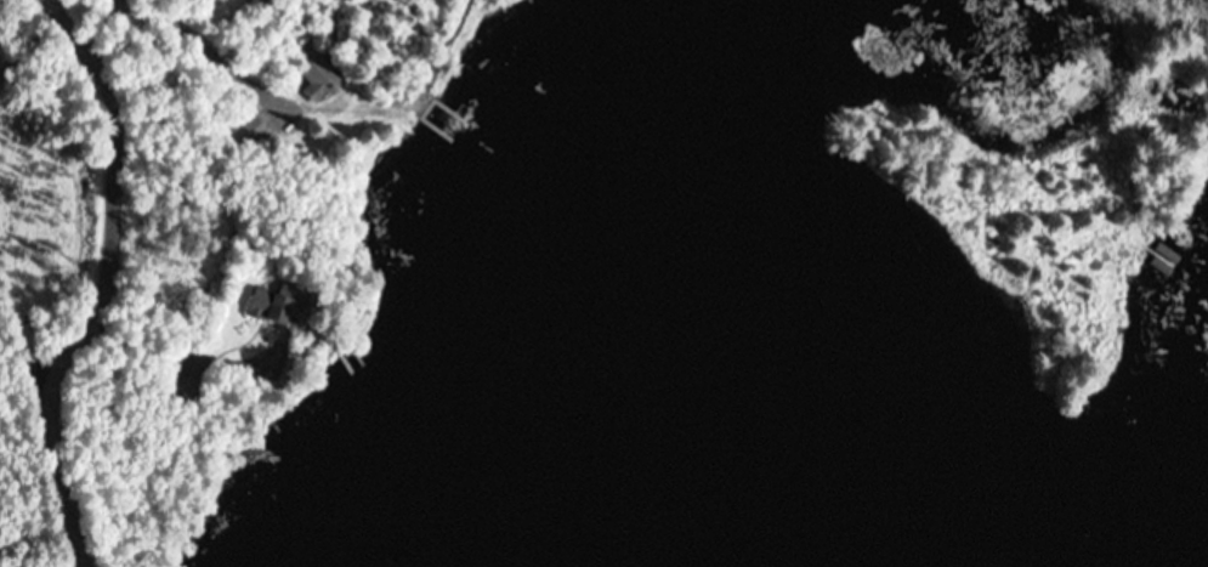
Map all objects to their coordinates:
building: (319, 79)
road: (106, 285)
building: (274, 308)
river: (625, 378)
building: (182, 390)

